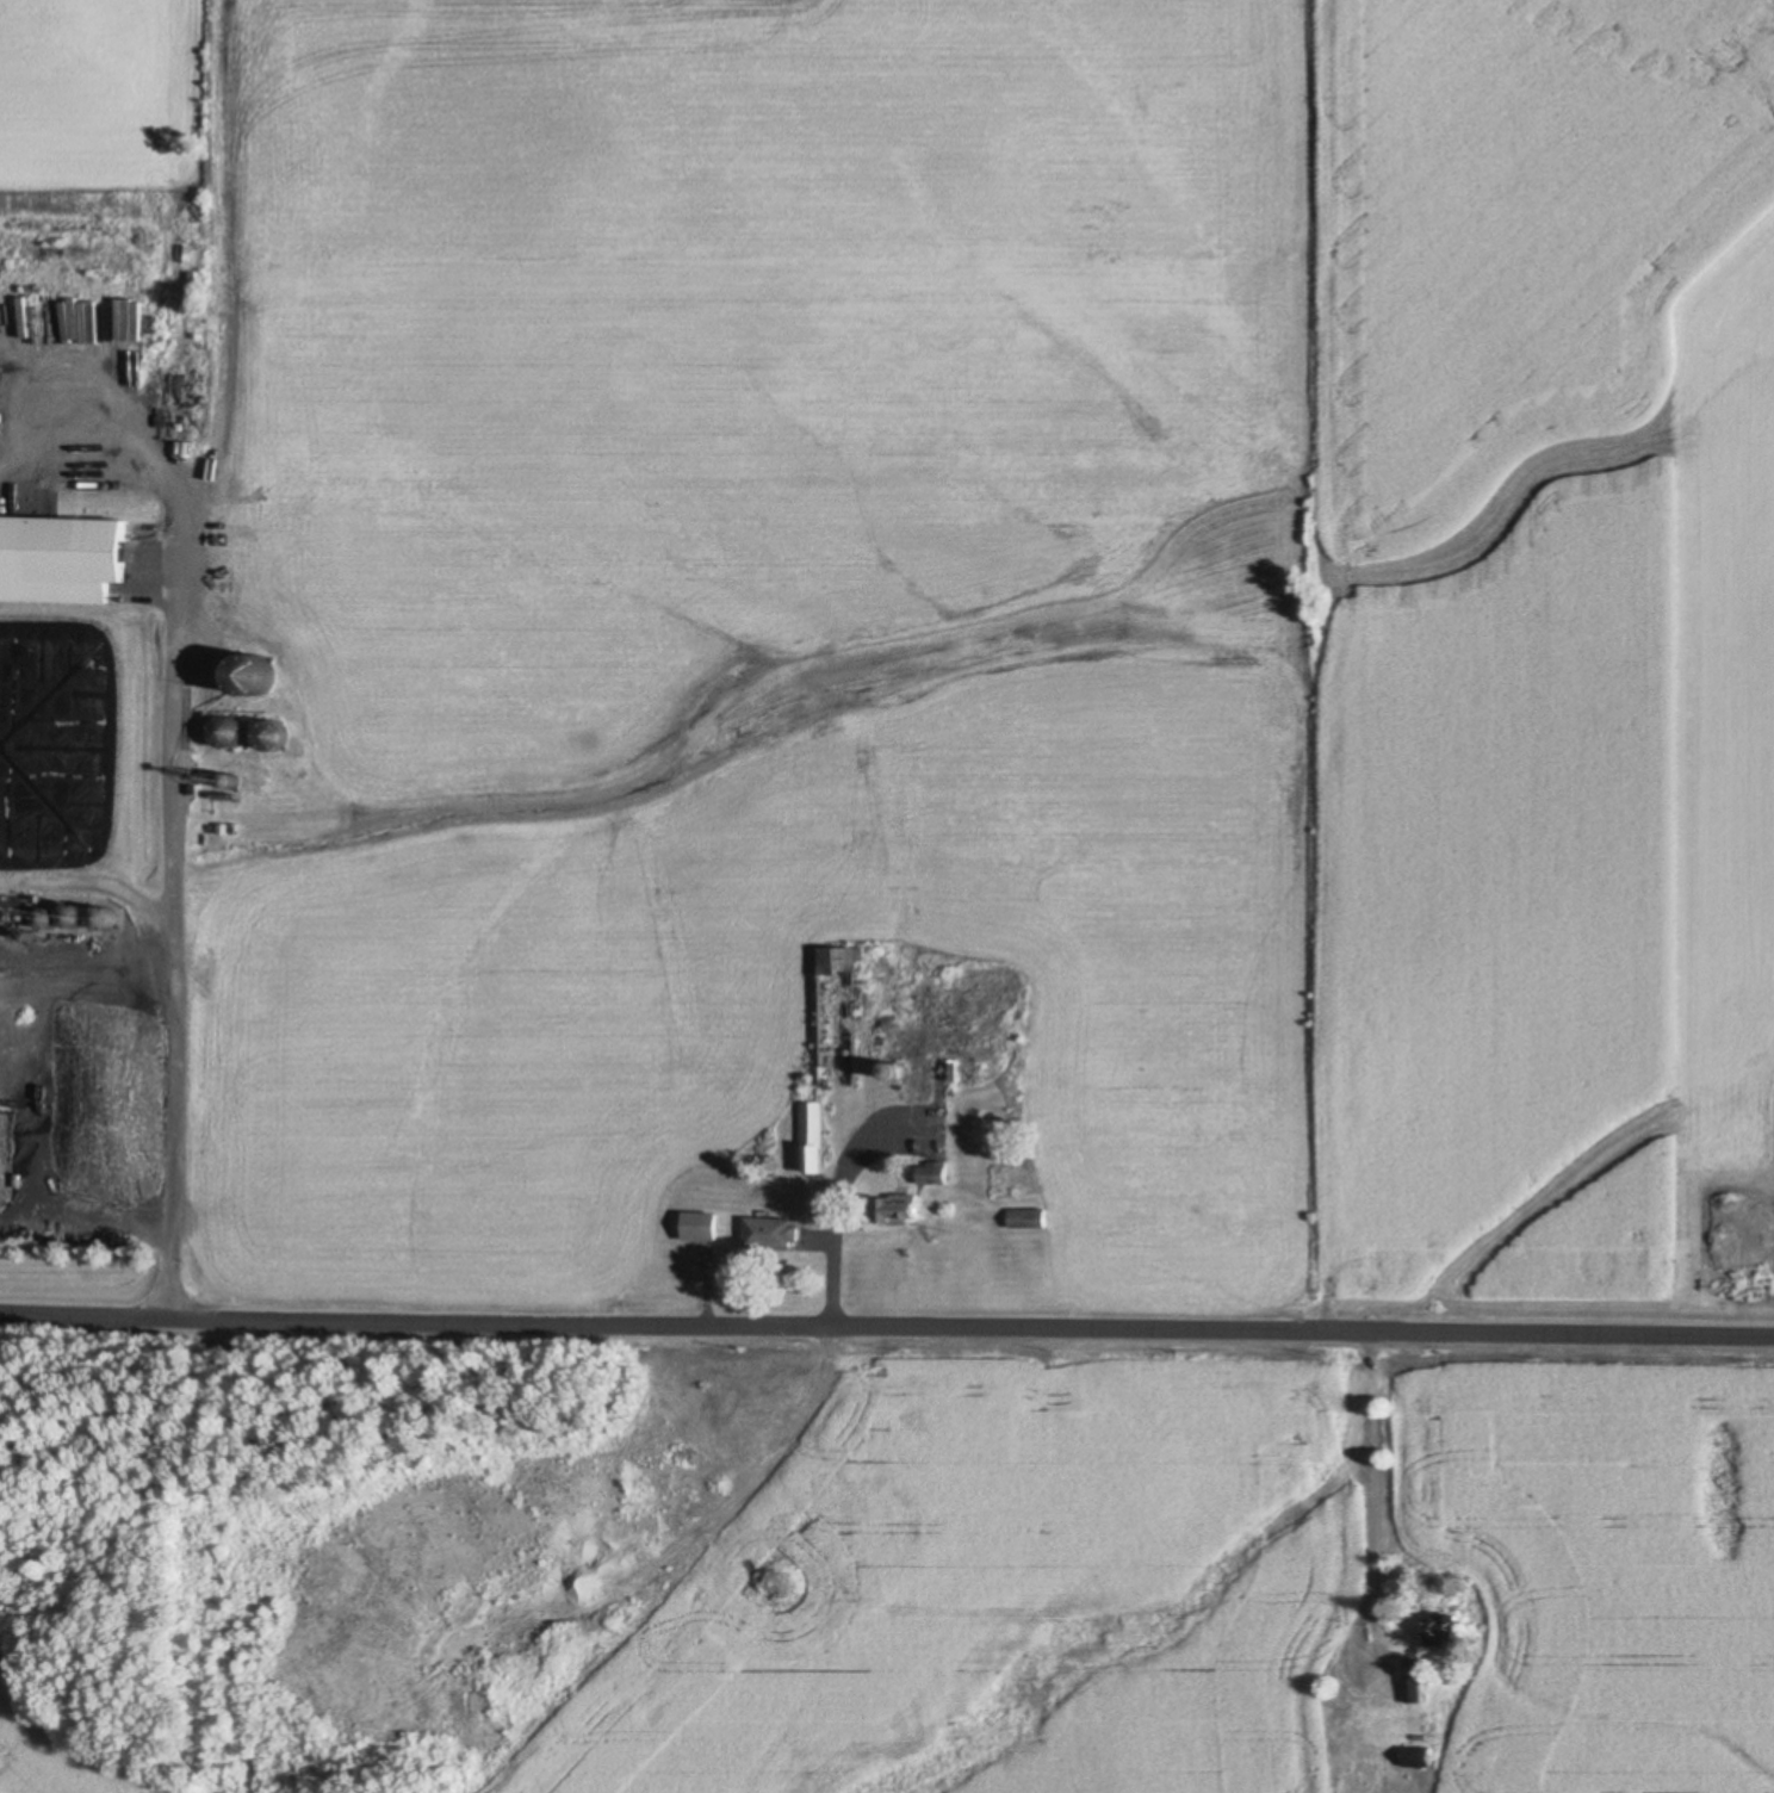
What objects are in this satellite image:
building: (79, 547)
crop: (973, 600)
road: (170, 789)
building: (75, 917)
building: (104, 918)
road: (86, 955)
building: (841, 1018)
building: (933, 1046)
building: (813, 1136)
building: (937, 1174)
road: (833, 1206)
building: (901, 1211)
building: (702, 1228)
building: (773, 1233)
road: (886, 1323)
crop: (1197, 1581)
building: (1439, 1627)
building: (1414, 1680)
crop: (44, 1748)
building: (1418, 1762)

